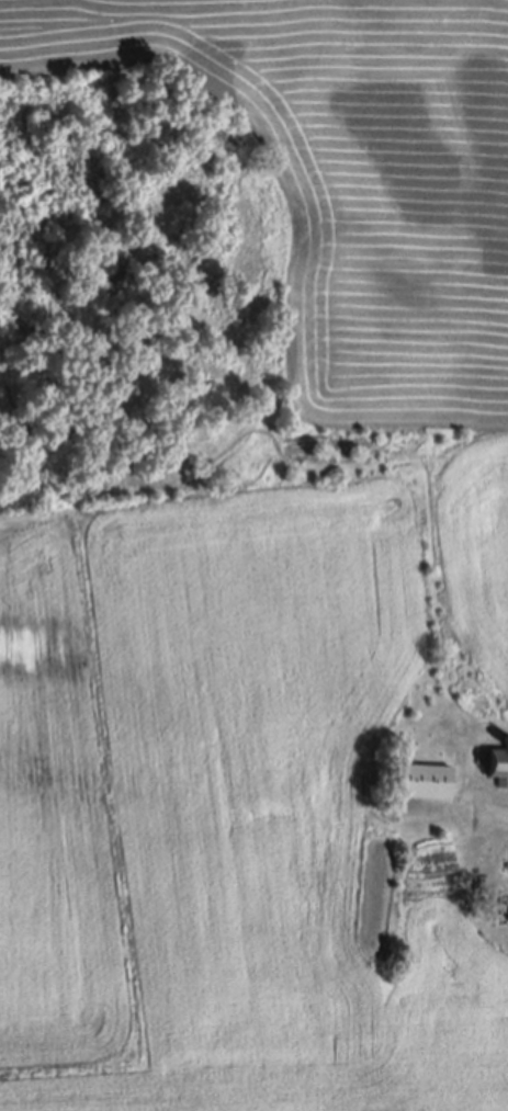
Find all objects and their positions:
crop: (274, 613)
building: (507, 745)
building: (499, 771)
building: (424, 784)
road: (496, 812)

